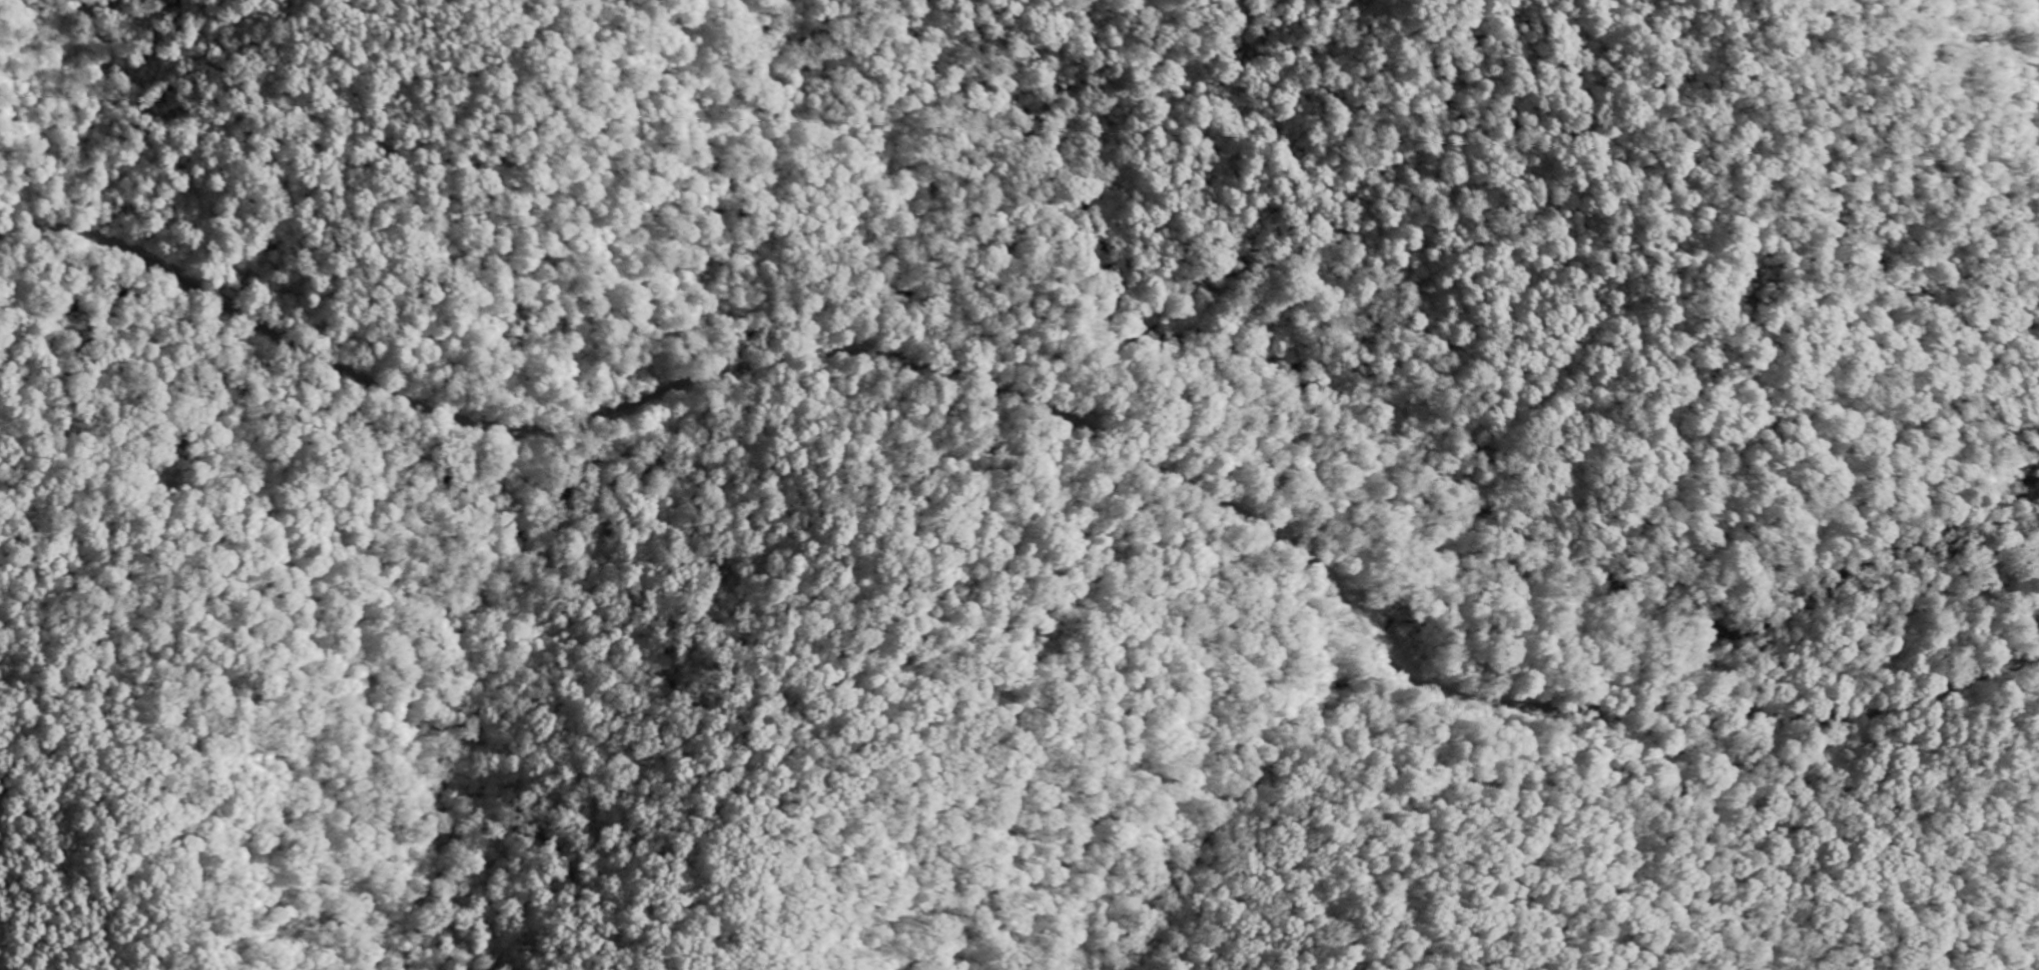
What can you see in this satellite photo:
road: (1044, 398)

